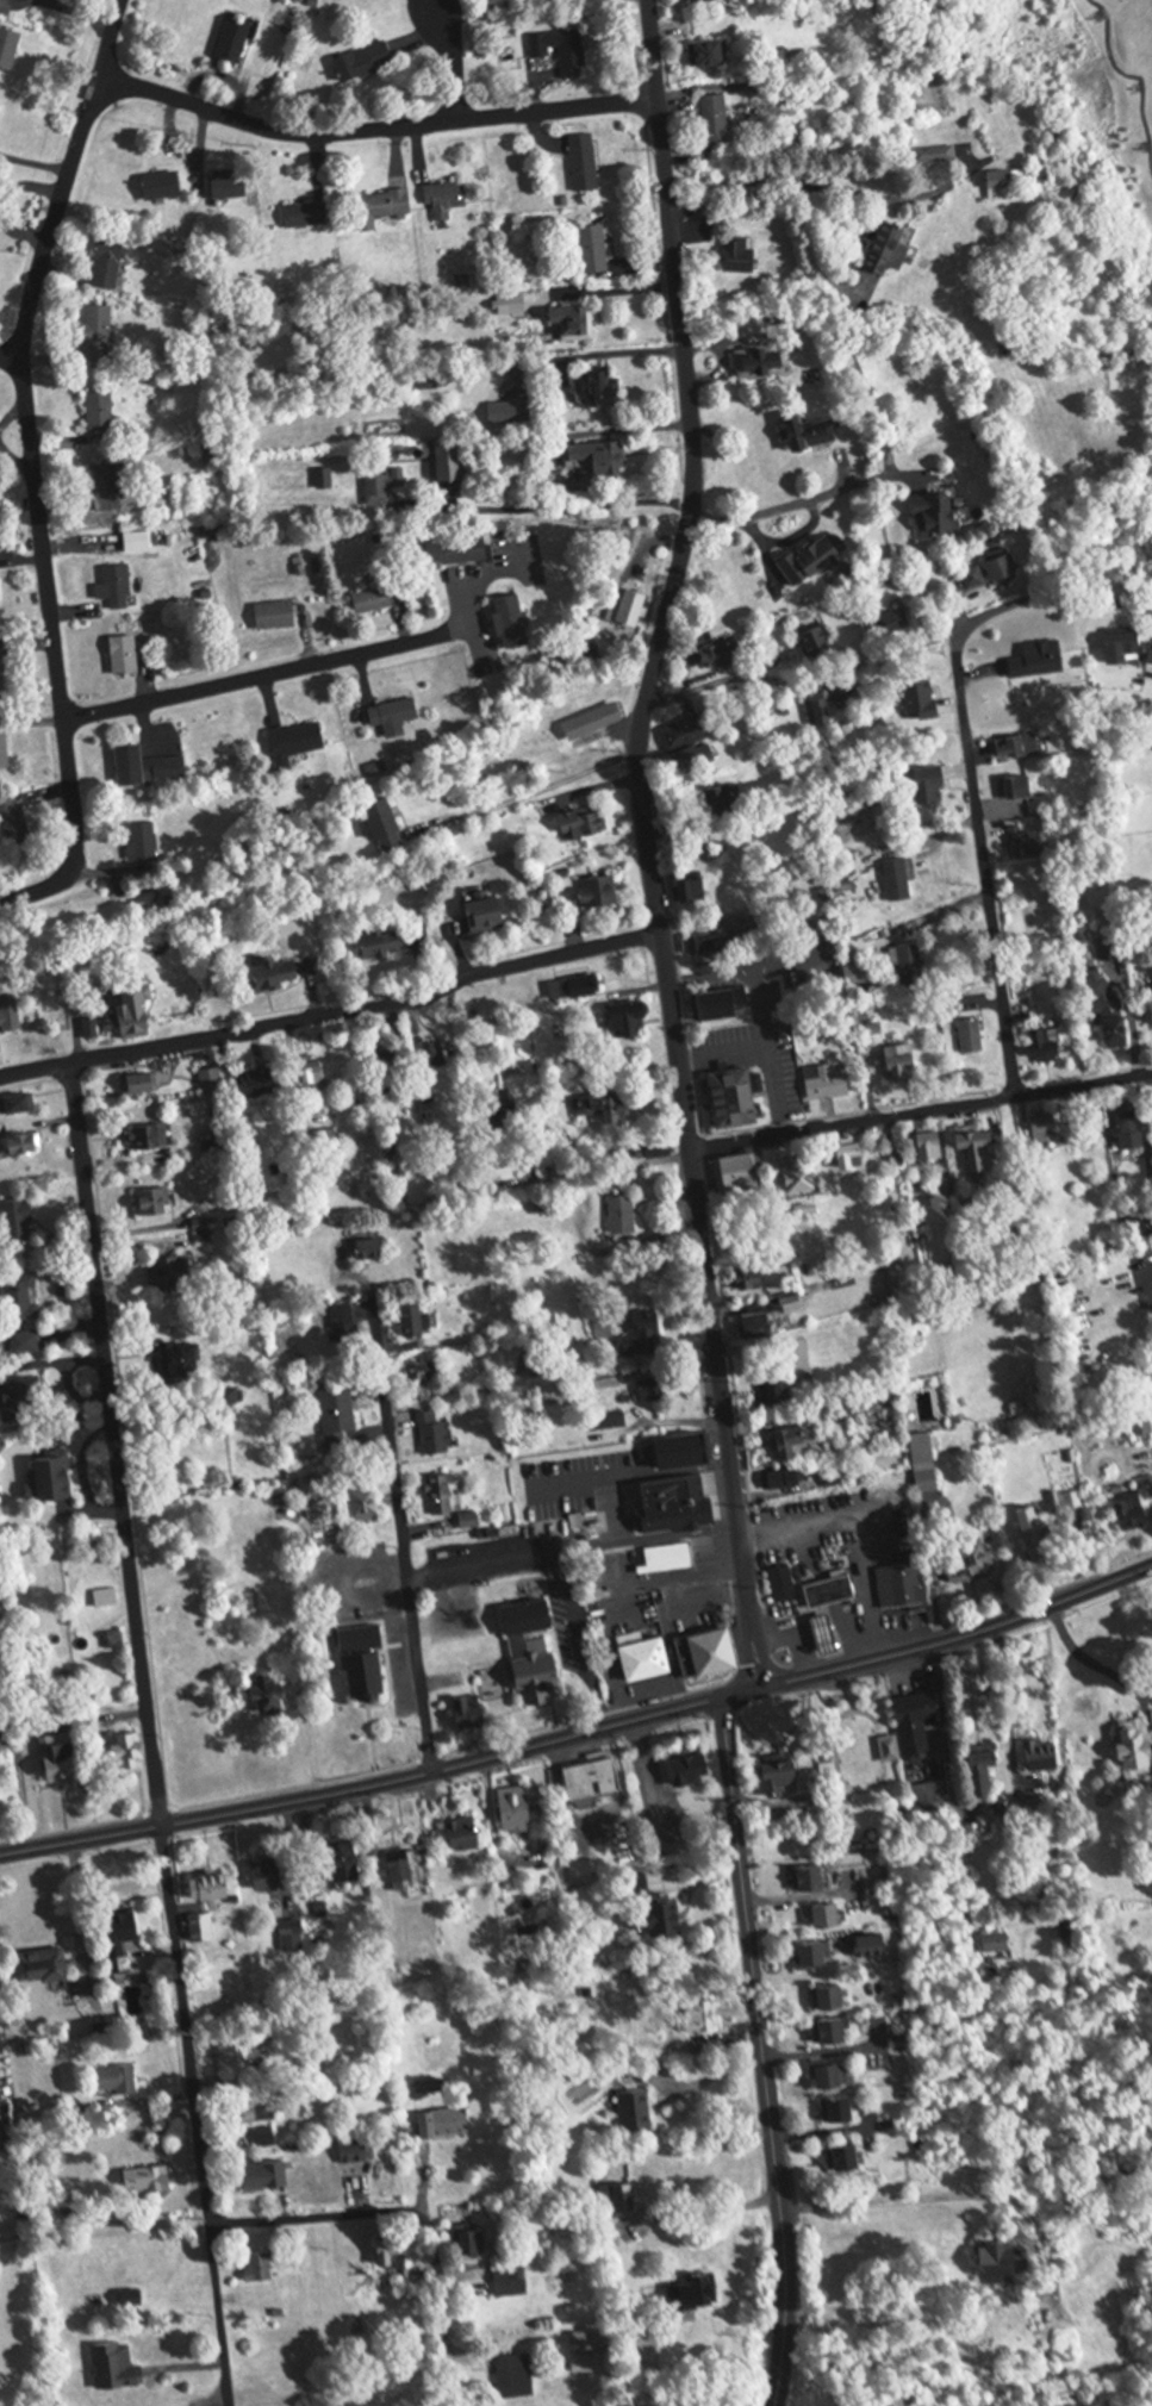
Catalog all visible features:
building: (695, 0)
building: (7, 6)
building: (236, 40)
building: (10, 46)
building: (565, 50)
building: (712, 52)
building: (367, 61)
road: (450, 66)
building: (0, 107)
building: (720, 119)
road: (373, 135)
building: (936, 154)
building: (586, 163)
building: (1008, 179)
road: (816, 185)
building: (166, 186)
building: (447, 199)
building: (387, 205)
building: (309, 214)
building: (892, 248)
building: (596, 249)
building: (742, 255)
building: (111, 263)
building: (575, 322)
building: (101, 332)
road: (10, 355)
building: (764, 361)
building: (599, 389)
building: (102, 412)
road: (679, 418)
building: (812, 431)
building: (599, 456)
building: (453, 461)
road: (31, 472)
building: (385, 485)
building: (111, 487)
road: (593, 509)
road: (784, 510)
building: (941, 516)
building: (139, 542)
building: (467, 550)
building: (815, 560)
building: (995, 573)
building: (120, 587)
building: (375, 601)
building: (0, 606)
building: (635, 607)
building: (279, 616)
building: (897, 619)
building: (515, 622)
building: (816, 643)
building: (1126, 643)
building: (127, 655)
building: (723, 655)
building: (2, 674)
road: (749, 679)
road: (249, 684)
building: (924, 698)
building: (822, 712)
building: (397, 717)
building: (593, 722)
building: (301, 740)
building: (691, 740)
building: (1021, 746)
building: (5, 753)
building: (149, 767)
road: (967, 771)
building: (935, 784)
building: (1022, 786)
road: (535, 790)
building: (14, 823)
building: (388, 825)
building: (585, 825)
building: (147, 841)
road: (643, 843)
building: (1030, 843)
building: (901, 880)
building: (692, 891)
building: (603, 893)
building: (488, 915)
building: (386, 941)
building: (708, 942)
building: (913, 965)
building: (276, 976)
building: (2, 980)
road: (429, 980)
building: (577, 989)
building: (726, 1004)
building: (1111, 1010)
building: (138, 1012)
building: (10, 1015)
road: (330, 1018)
building: (634, 1021)
building: (976, 1036)
building: (1052, 1045)
road: (762, 1054)
building: (905, 1066)
building: (391, 1072)
building: (315, 1074)
building: (213, 1080)
building: (144, 1084)
building: (262, 1084)
building: (830, 1084)
building: (737, 1098)
building: (18, 1105)
building: (604, 1107)
road: (920, 1117)
building: (1050, 1124)
building: (1133, 1134)
building: (150, 1139)
building: (934, 1146)
building: (21, 1147)
building: (984, 1149)
building: (664, 1154)
building: (855, 1159)
building: (901, 1164)
building: (734, 1170)
road: (600, 1176)
building: (805, 1179)
building: (155, 1203)
building: (804, 1211)
building: (625, 1216)
building: (18, 1223)
building: (747, 1242)
building: (372, 1249)
building: (176, 1273)
building: (753, 1278)
building: (23, 1298)
building: (413, 1322)
building: (761, 1326)
building: (347, 1327)
building: (648, 1338)
building: (26, 1344)
building: (185, 1363)
building: (422, 1382)
building: (652, 1391)
building: (772, 1394)
building: (19, 1398)
building: (1141, 1409)
building: (340, 1417)
building: (435, 1435)
building: (793, 1442)
road: (117, 1446)
building: (687, 1452)
building: (927, 1463)
parking lot: (574, 1471)
road: (672, 1475)
building: (50, 1481)
building: (784, 1482)
road: (572, 1488)
building: (444, 1496)
building: (367, 1506)
building: (675, 1508)
building: (1134, 1509)
road: (616, 1515)
building: (1059, 1519)
parking lot: (829, 1520)
road: (404, 1532)
road: (680, 1537)
road: (853, 1537)
road: (587, 1551)
building: (661, 1557)
building: (973, 1559)
road: (486, 1564)
building: (779, 1581)
road: (658, 1584)
building: (899, 1587)
building: (823, 1589)
building: (106, 1596)
building: (521, 1615)
building: (829, 1632)
road: (797, 1633)
road: (960, 1635)
building: (114, 1638)
road: (587, 1645)
building: (699, 1650)
building: (637, 1657)
building: (367, 1659)
road: (1092, 1659)
building: (530, 1672)
building: (273, 1690)
road: (1135, 1698)
building: (472, 1710)
building: (920, 1719)
road: (1011, 1739)
park: (849, 1747)
building: (1138, 1747)
building: (131, 1750)
building: (1044, 1753)
road: (1150, 1754)
building: (66, 1759)
building: (778, 1763)
building: (695, 1766)
building: (985, 1770)
building: (585, 1774)
road: (384, 1783)
building: (930, 1791)
building: (519, 1807)
road: (954, 1821)
building: (980, 1830)
building: (467, 1832)
building: (1146, 1853)
building: (349, 1859)
building: (403, 1869)
building: (269, 1875)
building: (812, 1876)
building: (214, 1884)
building: (834, 1913)
building: (667, 1916)
building: (201, 1926)
building: (124, 1936)
building: (293, 1937)
building: (1000, 1939)
building: (880, 1944)
building: (815, 1953)
building: (44, 1964)
road: (758, 1994)
building: (833, 1994)
building: (834, 2028)
building: (834, 2074)
building: (120, 2078)
road: (710, 2078)
building: (841, 2107)
building: (637, 2109)
building: (260, 2111)
road: (193, 2115)
building: (444, 2121)
building: (268, 2136)
building: (356, 2149)
building: (849, 2155)
building: (267, 2174)
building: (150, 2177)
building: (619, 2196)
road: (927, 2196)
road: (714, 2206)
road: (393, 2219)
building: (473, 2239)
building: (396, 2251)
building: (1005, 2257)
building: (260, 2264)
building: (566, 2277)
building: (512, 2279)
building: (697, 2290)
building: (597, 2337)
road: (784, 2348)
building: (586, 2362)
building: (117, 2366)
building: (517, 2375)

